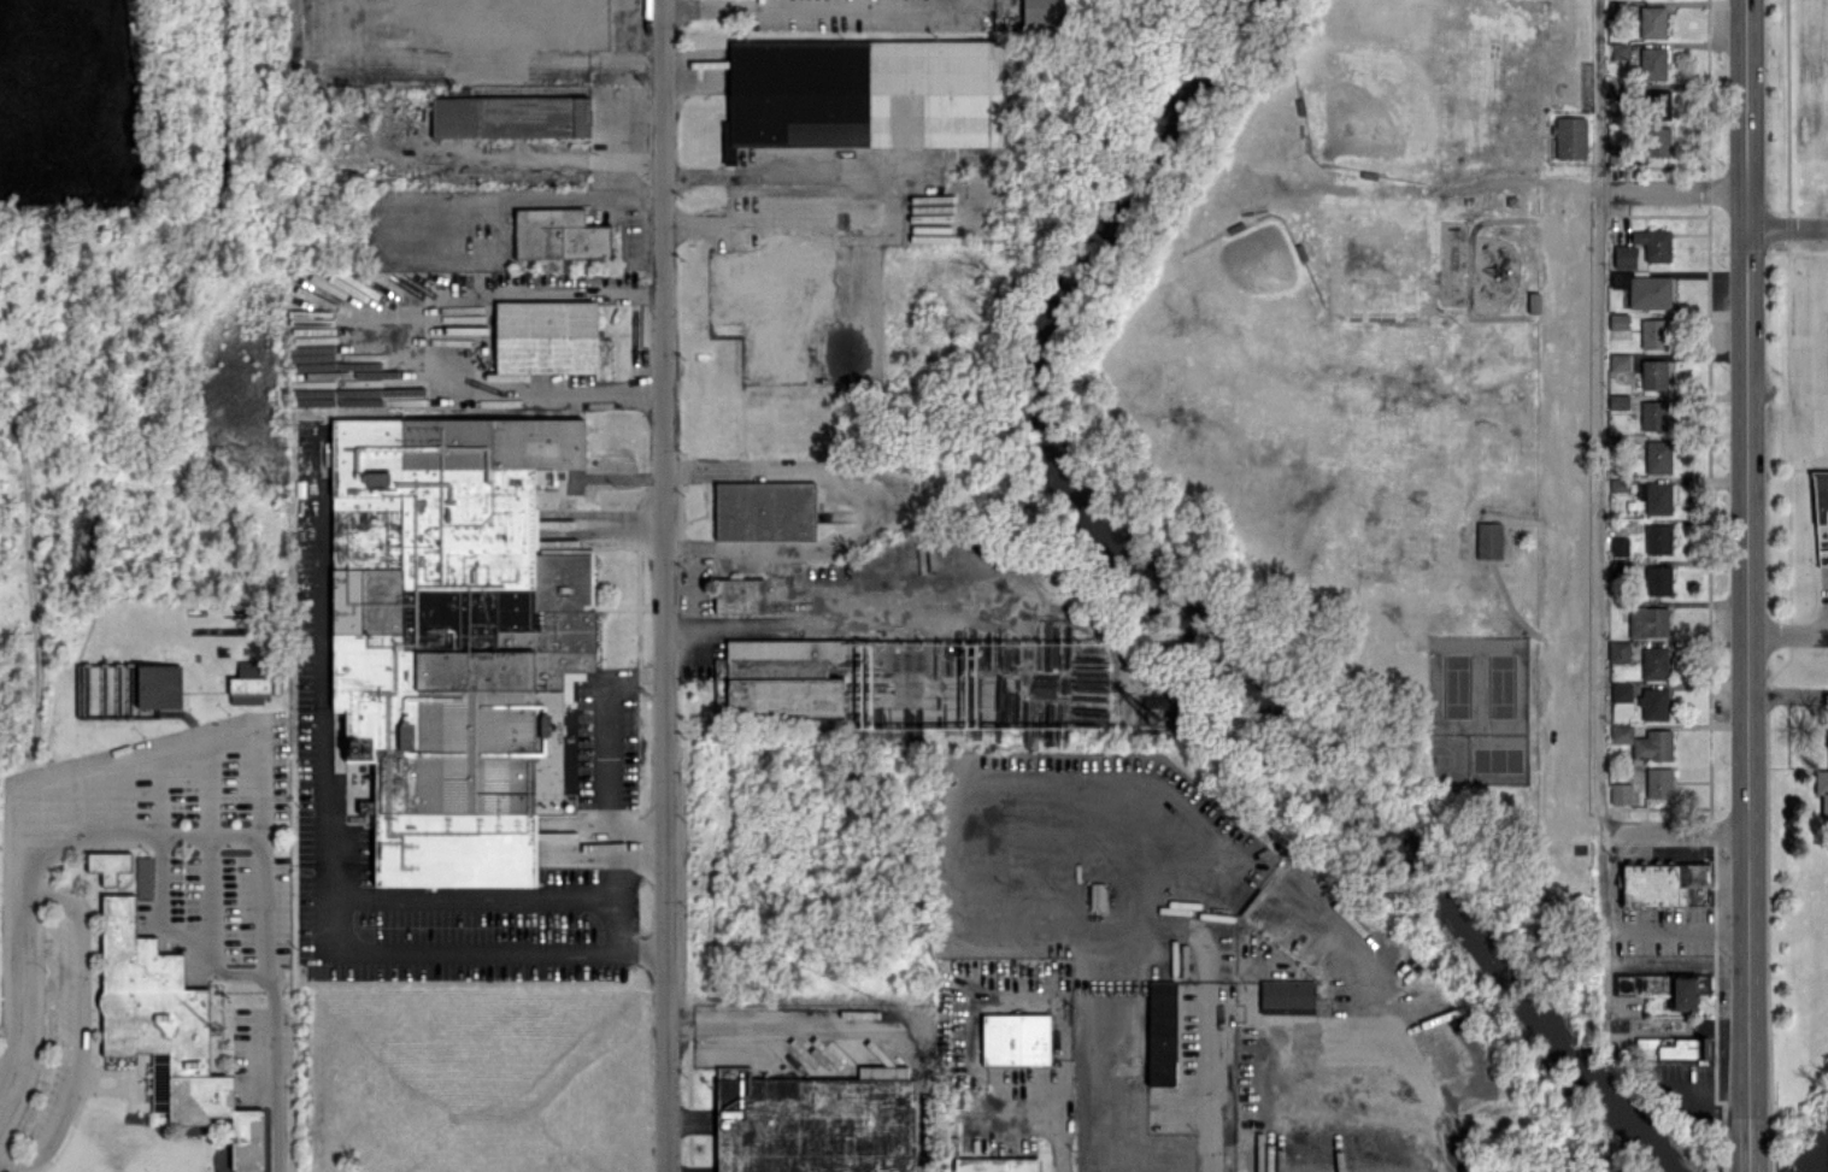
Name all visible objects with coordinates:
building: (1042, 14)
building: (1652, 22)
building: (1618, 51)
road: (465, 55)
building: (1652, 63)
building: (864, 93)
building: (1654, 101)
building: (510, 116)
building: (1570, 137)
building: (1657, 141)
building: (727, 147)
road: (562, 159)
road: (778, 178)
road: (1671, 192)
road: (525, 196)
road: (754, 224)
road: (1786, 228)
building: (558, 235)
building: (1653, 243)
building: (1624, 255)
building: (1644, 289)
building: (771, 302)
building: (1617, 320)
building: (1653, 332)
building: (549, 337)
building: (1620, 361)
building: (1653, 373)
parking lot: (1810, 382)
road: (521, 393)
road: (619, 394)
building: (1617, 401)
building: (1652, 414)
building: (1657, 457)
building: (1820, 495)
building: (1657, 496)
road: (1599, 503)
road: (870, 508)
building: (764, 511)
road: (1571, 511)
road: (624, 526)
building: (1657, 538)
building: (1488, 540)
building: (1618, 546)
road: (1746, 559)
building: (1658, 579)
road: (664, 585)
building: (739, 595)
building: (1647, 620)
river: (1183, 625)
road: (1787, 632)
building: (452, 635)
building: (1618, 650)
building: (1653, 661)
building: (778, 678)
building: (249, 682)
park: (1479, 684)
building: (159, 685)
building: (1621, 691)
building: (1653, 703)
building: (1152, 705)
road: (189, 737)
building: (1644, 742)
road: (606, 756)
park: (1479, 759)
building: (1658, 782)
road: (208, 783)
road: (982, 783)
building: (1822, 789)
road: (160, 790)
building: (1620, 793)
road: (113, 796)
road: (1674, 834)
road: (181, 835)
building: (557, 848)
building: (108, 865)
road: (312, 873)
building: (143, 876)
building: (1658, 882)
road: (611, 893)
building: (1095, 895)
road: (463, 899)
road: (1112, 935)
building: (1667, 987)
building: (1286, 993)
road: (71, 1030)
building: (166, 1030)
building: (1160, 1032)
building: (1015, 1038)
building: (1671, 1047)
road: (1420, 1083)
road: (1203, 1119)
building: (815, 1121)
road: (1056, 1142)
road: (1744, 1146)
river: (1815, 1156)
building: (997, 1165)

